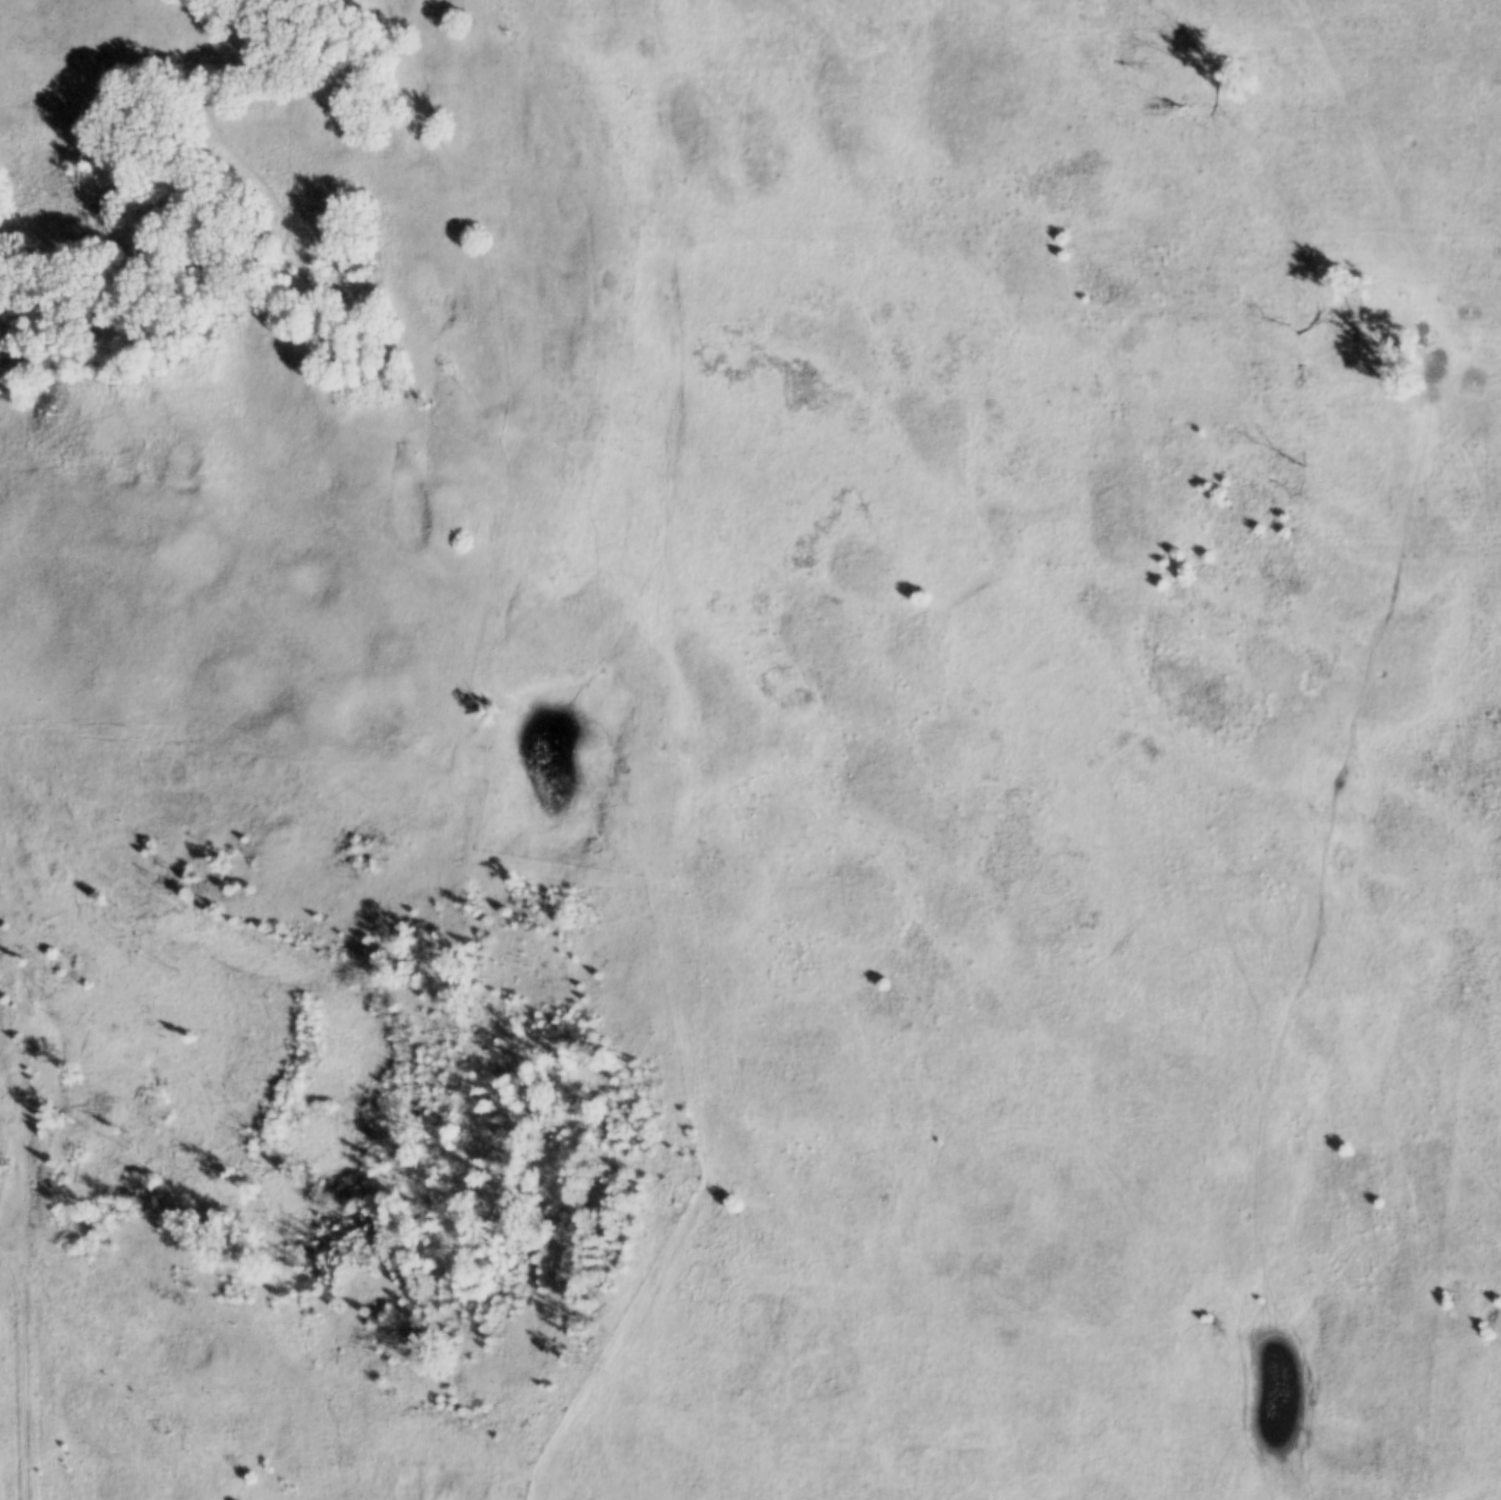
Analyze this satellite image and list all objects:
road: (279, 234)

